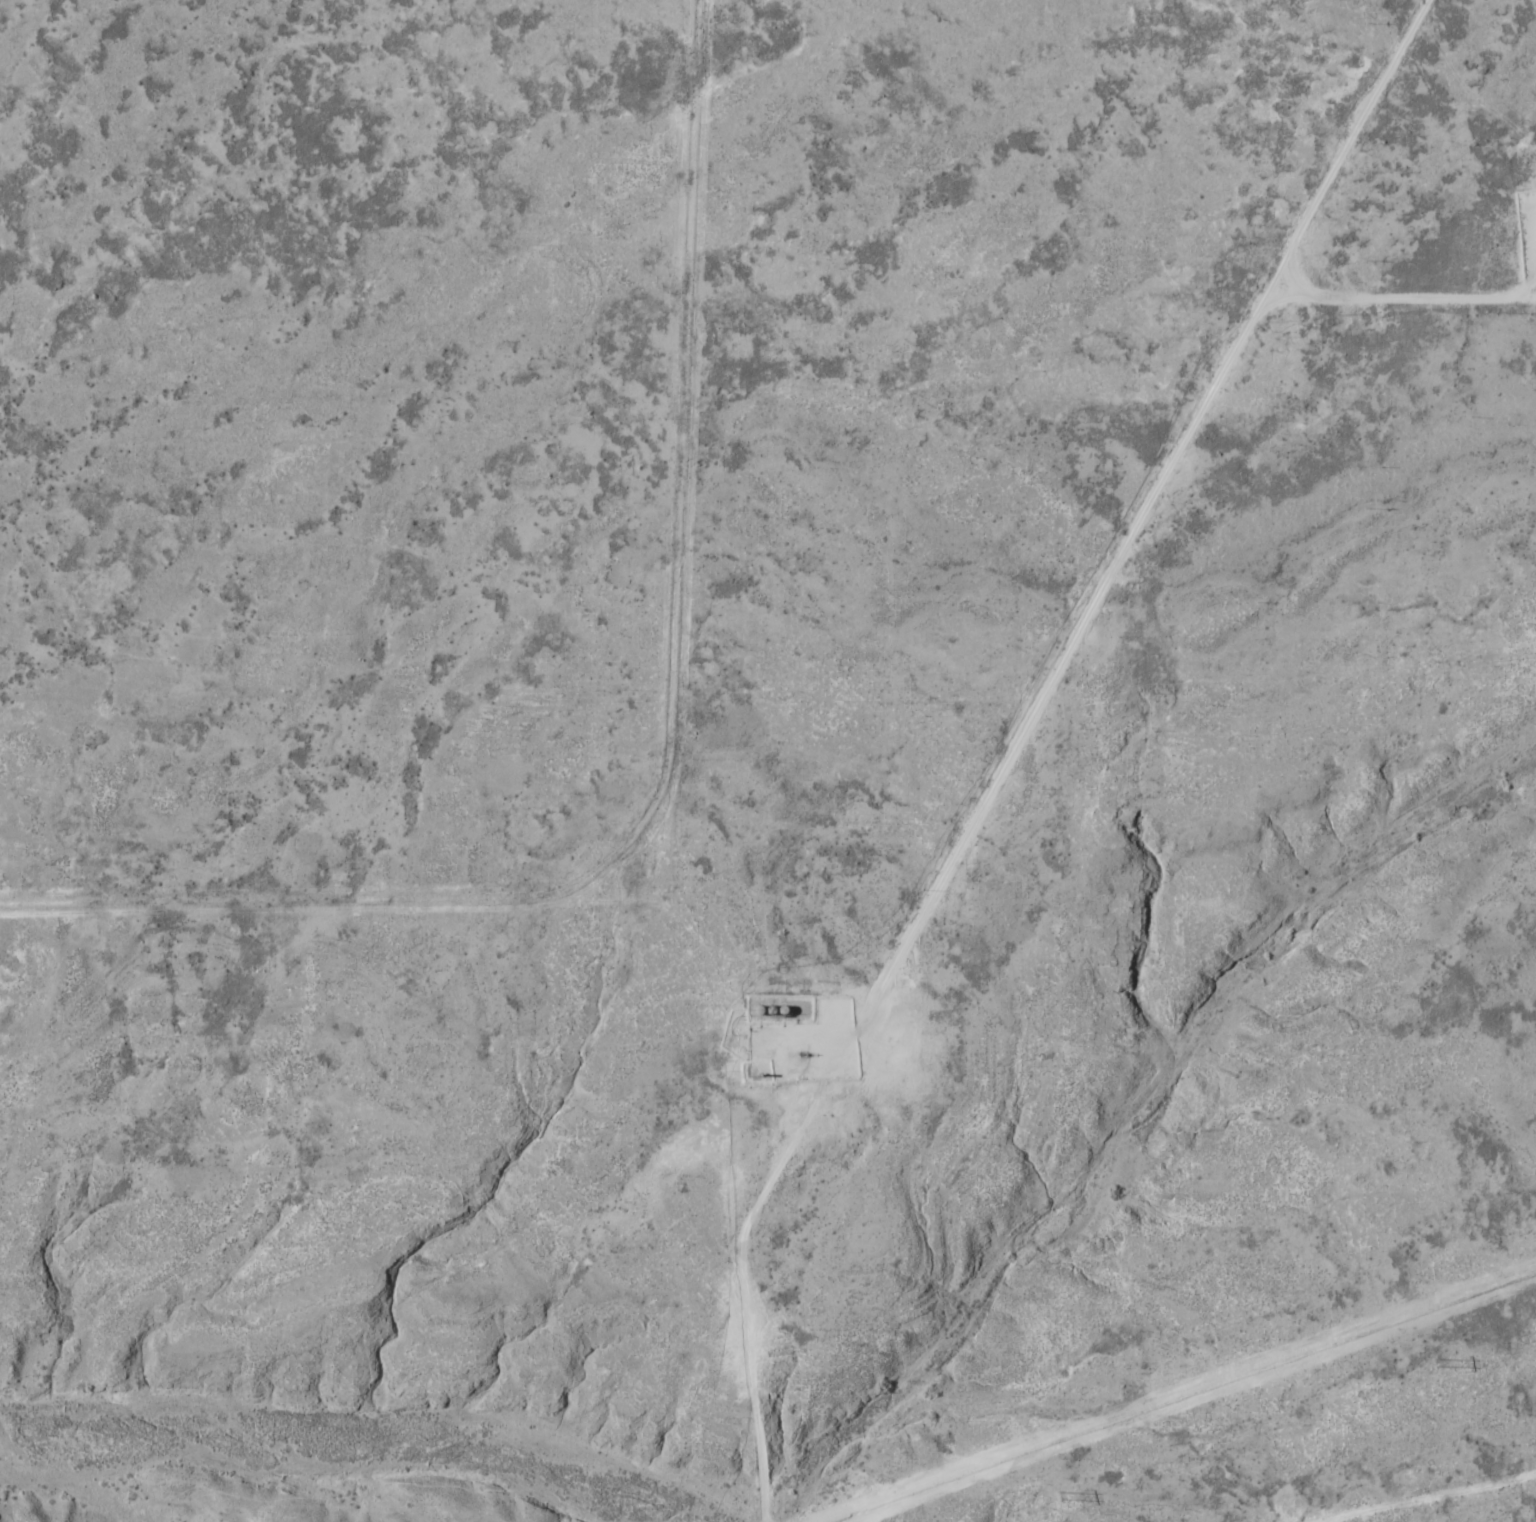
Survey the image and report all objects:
road: (1453, 293)
road: (1146, 497)
power tower: (1437, 1363)
power tower: (1060, 1496)

